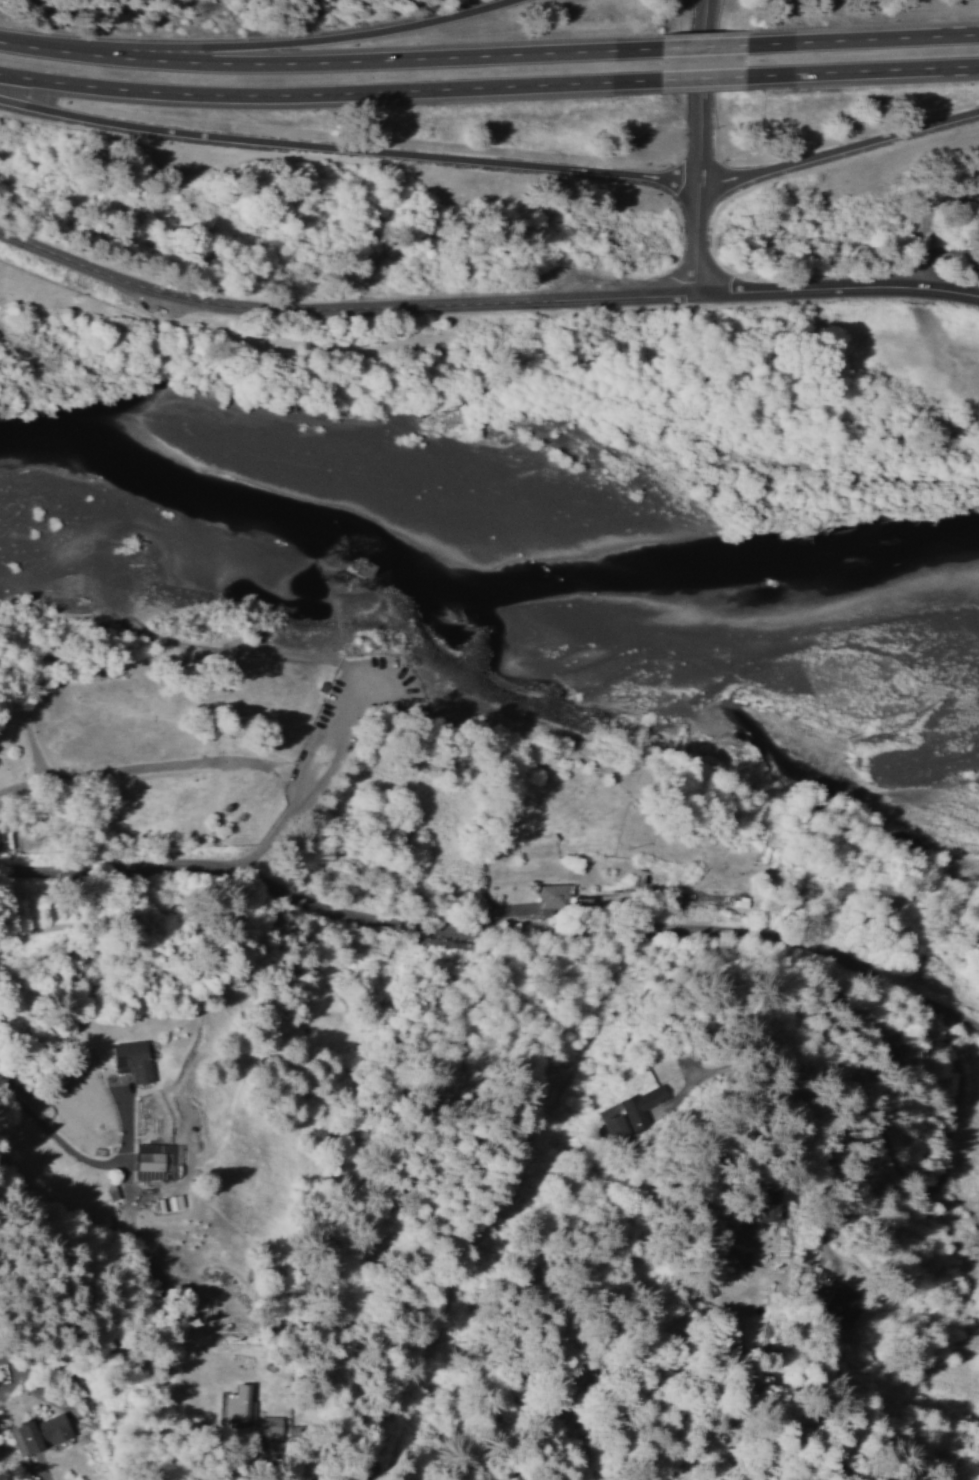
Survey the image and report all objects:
road: (861, 39)
road: (302, 42)
road: (691, 47)
road: (319, 61)
road: (861, 70)
road: (686, 80)
road: (313, 94)
road: (695, 148)
road: (492, 165)
road: (840, 288)
road: (345, 310)
river: (261, 566)
river: (645, 656)
river: (867, 748)
building: (553, 895)
building: (734, 901)
road: (493, 929)
railway: (489, 965)
building: (134, 1058)
building: (642, 1105)
building: (617, 1126)
building: (154, 1160)
road: (45, 1324)
building: (238, 1402)
building: (271, 1427)
building: (80, 1431)
building: (39, 1433)

